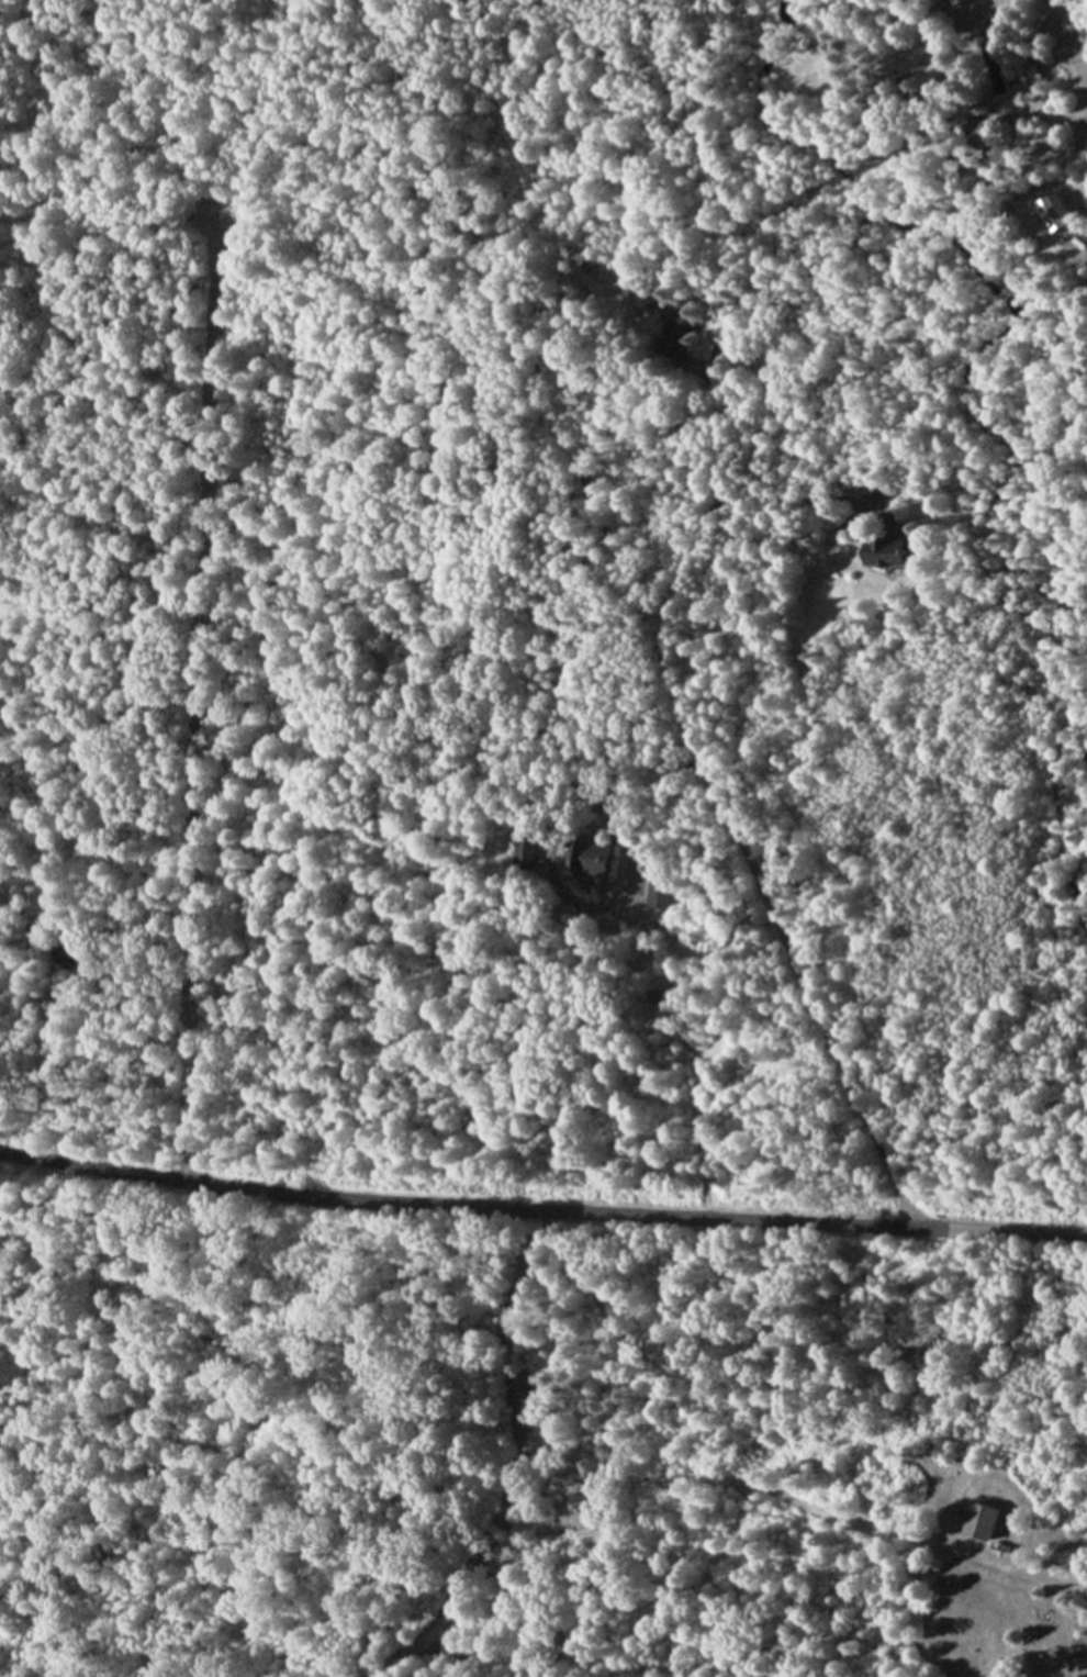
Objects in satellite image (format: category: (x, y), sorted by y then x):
building: (961, 1)
road: (1067, 44)
building: (672, 323)
building: (888, 551)
road: (632, 614)
road: (195, 706)
road: (649, 786)
building: (594, 859)
building: (660, 890)
building: (71, 950)
road: (683, 1044)
road: (541, 1212)
road: (506, 1468)
road: (736, 1478)
building: (985, 1521)

